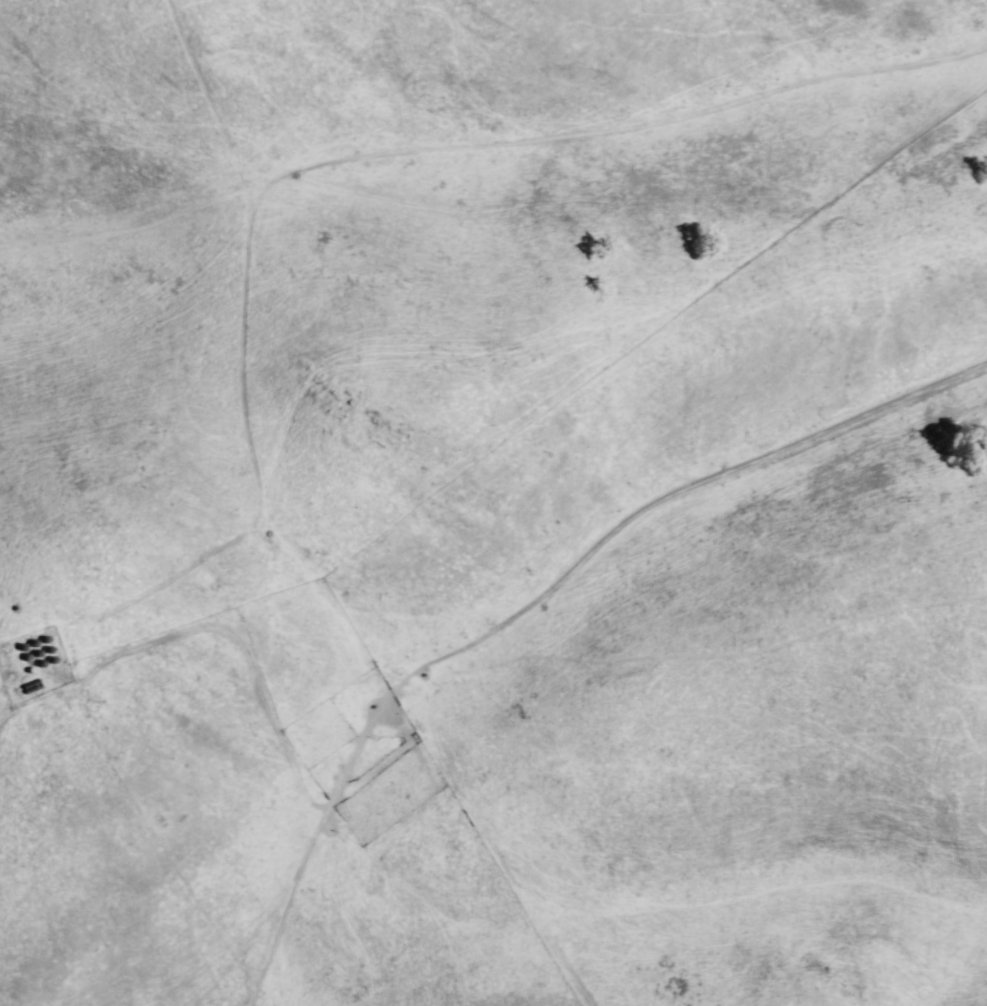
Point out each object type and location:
road: (529, 600)

